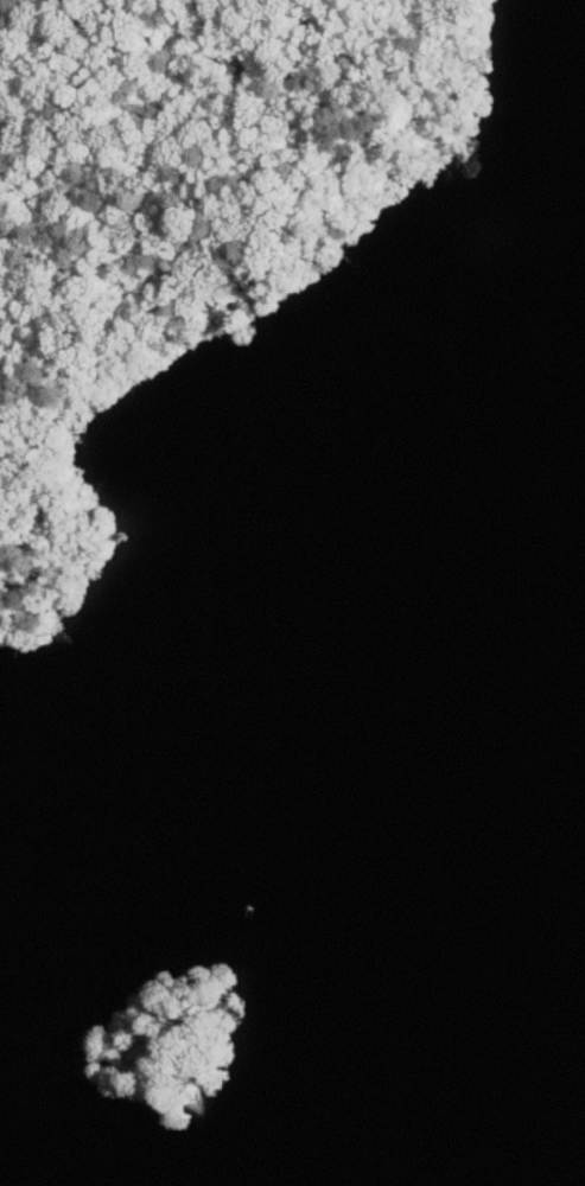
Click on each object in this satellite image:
road: (64, 202)

